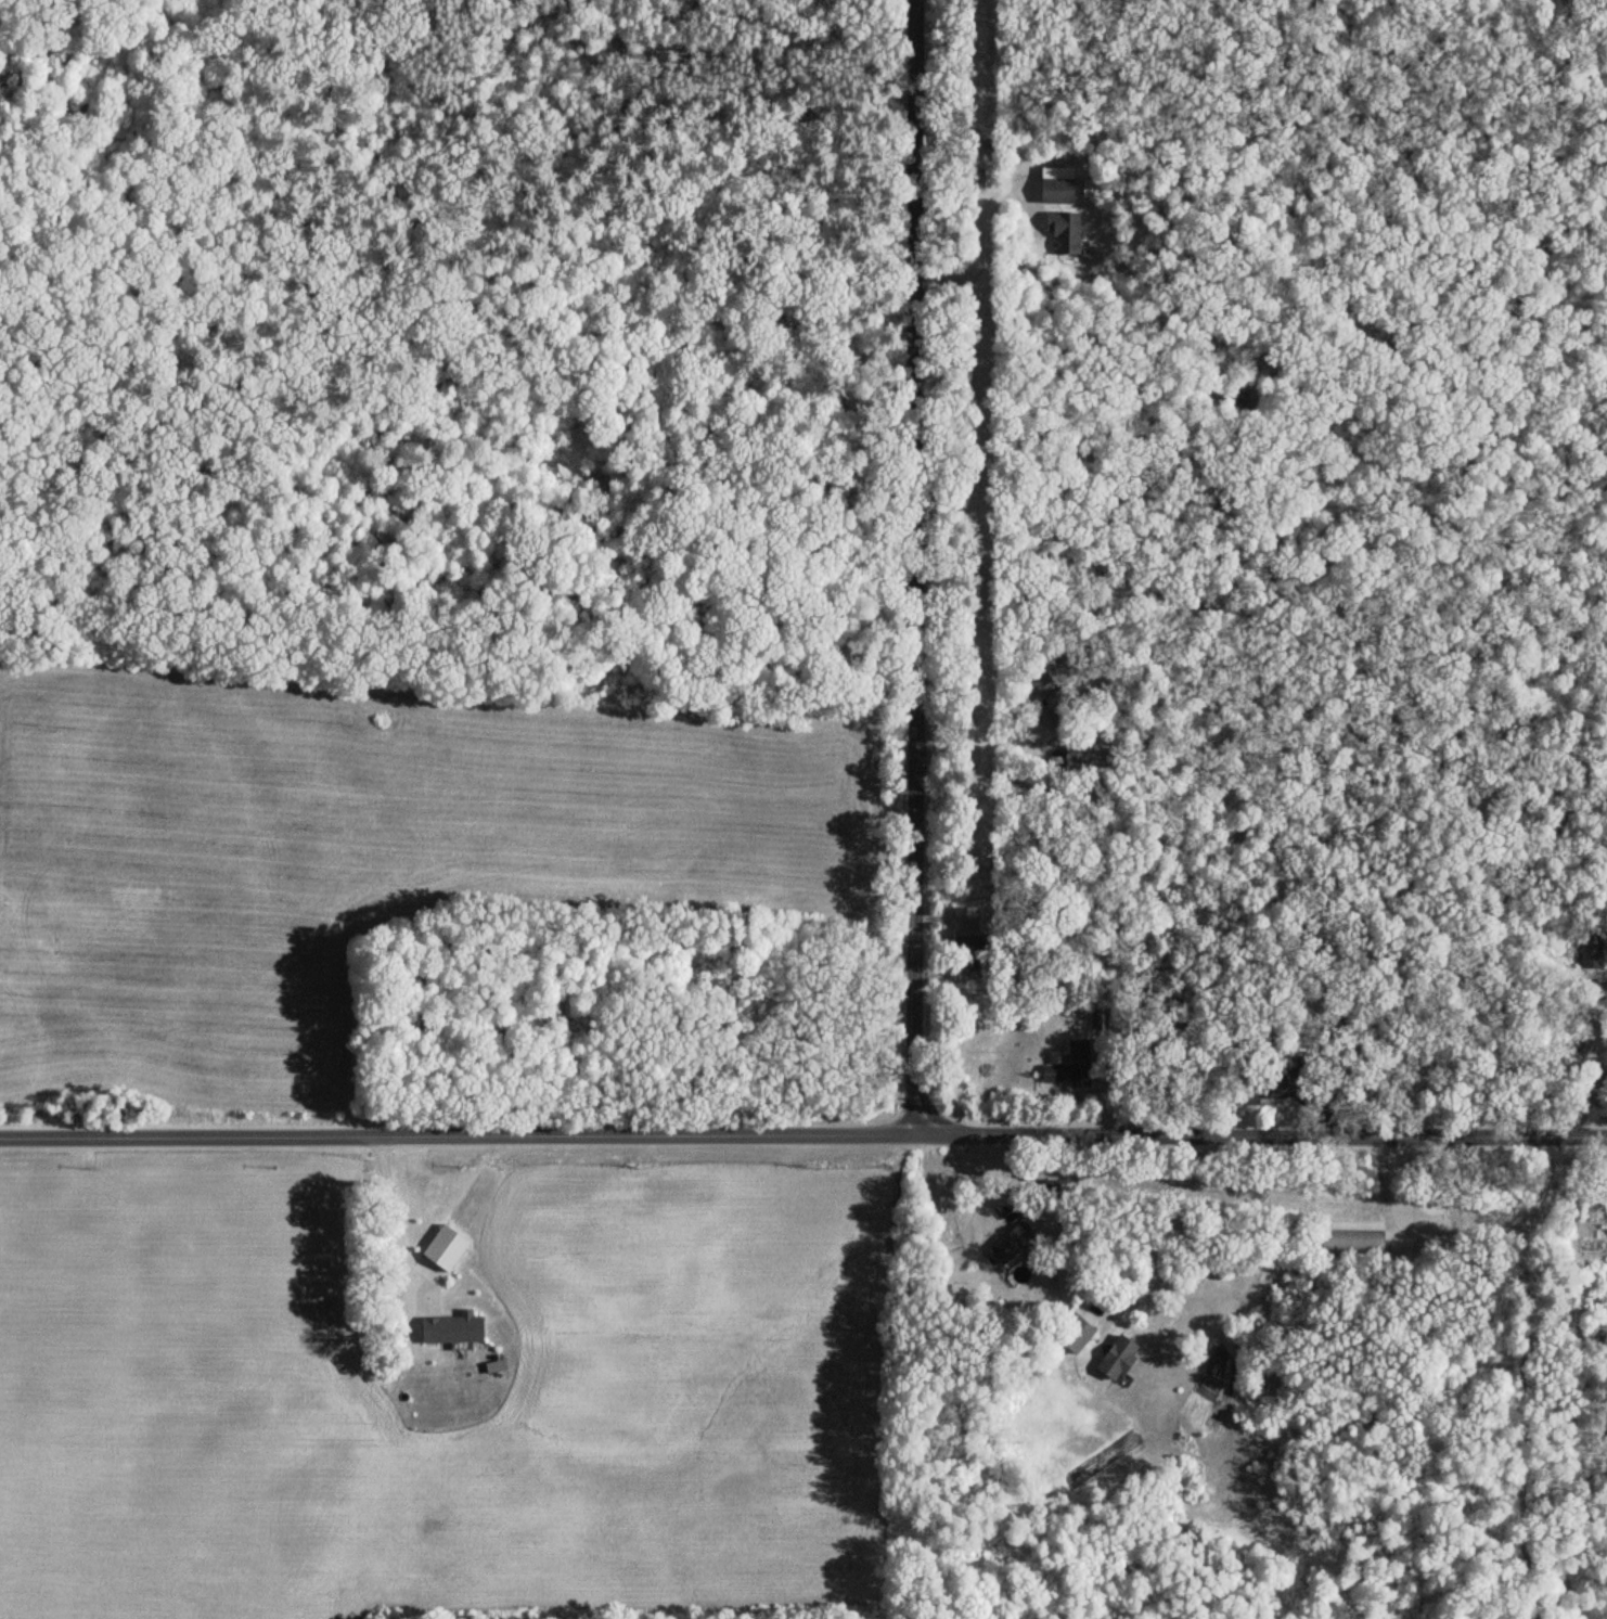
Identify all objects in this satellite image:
building: (1055, 193)
building: (1060, 234)
road: (976, 242)
road: (912, 566)
road: (1012, 696)
building: (961, 930)
building: (1069, 1068)
road: (803, 1133)
road: (393, 1207)
road: (1148, 1242)
building: (1350, 1243)
building: (1012, 1246)
road: (1200, 1248)
building: (1117, 1358)

